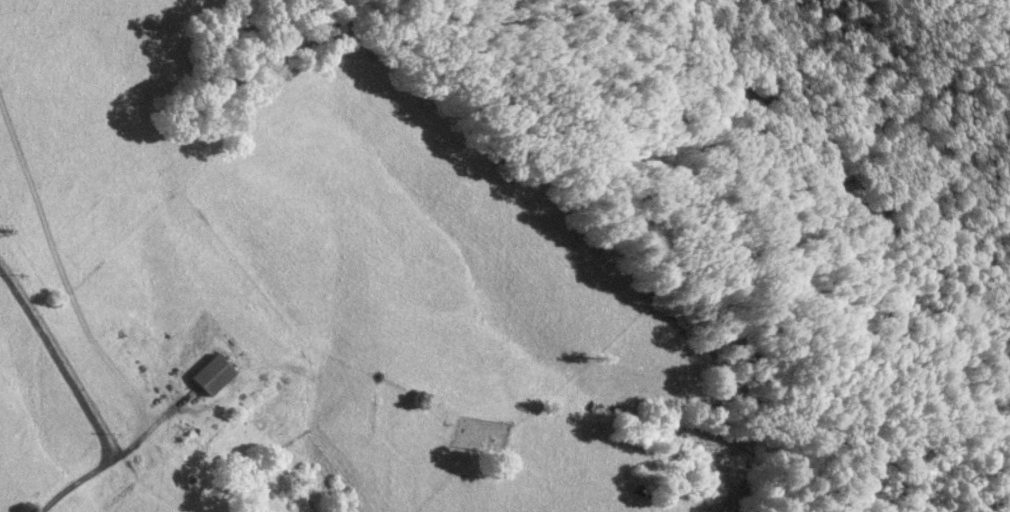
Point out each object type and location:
building: (213, 374)

